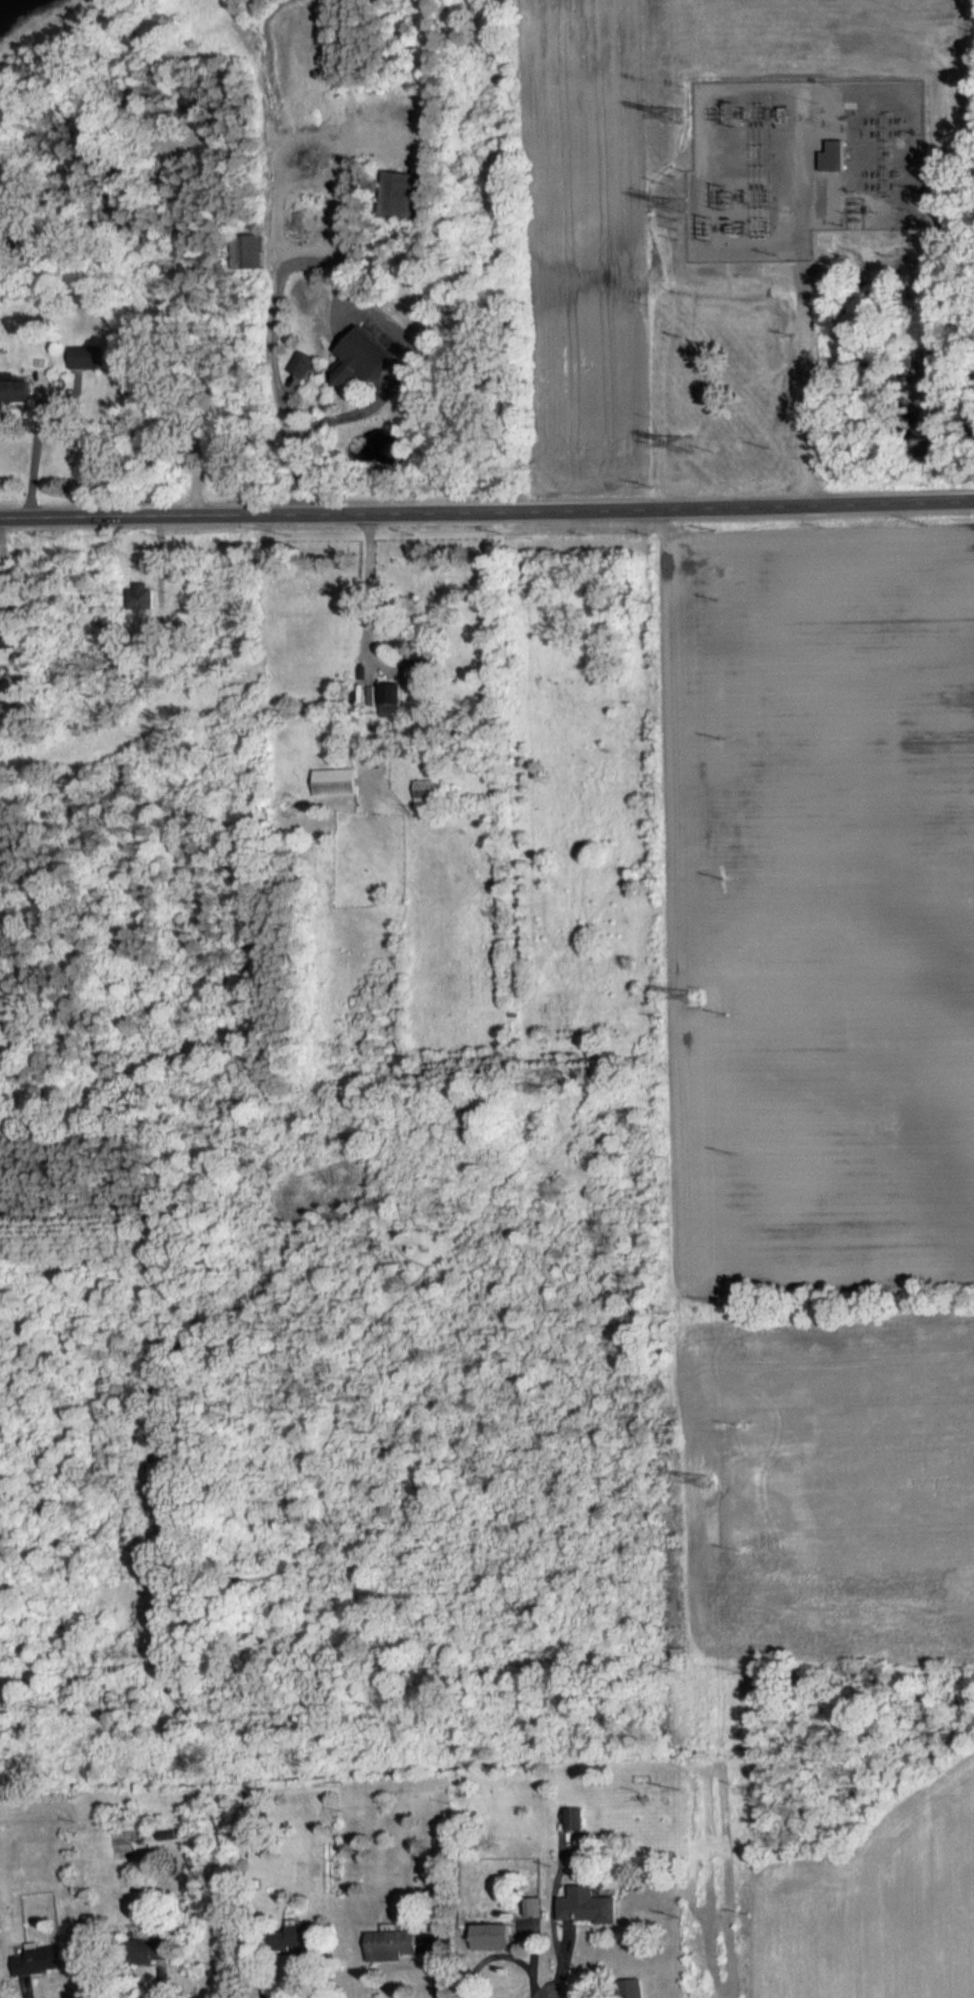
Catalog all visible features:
power tower: (675, 116)
building: (834, 158)
power substation: (802, 165)
building: (409, 195)
power tower: (677, 208)
road: (189, 261)
road: (272, 295)
road: (804, 319)
building: (85, 357)
building: (363, 359)
building: (16, 394)
road: (350, 408)
power tower: (685, 444)
road: (34, 458)
road: (487, 511)
building: (8, 639)
road: (361, 639)
building: (425, 664)
building: (389, 699)
building: (334, 781)
building: (428, 792)
power tower: (699, 999)
power tower: (707, 1484)
building: (574, 1819)
building: (589, 1906)
building: (498, 1937)
building: (394, 1945)
building: (146, 1952)
building: (37, 1959)

